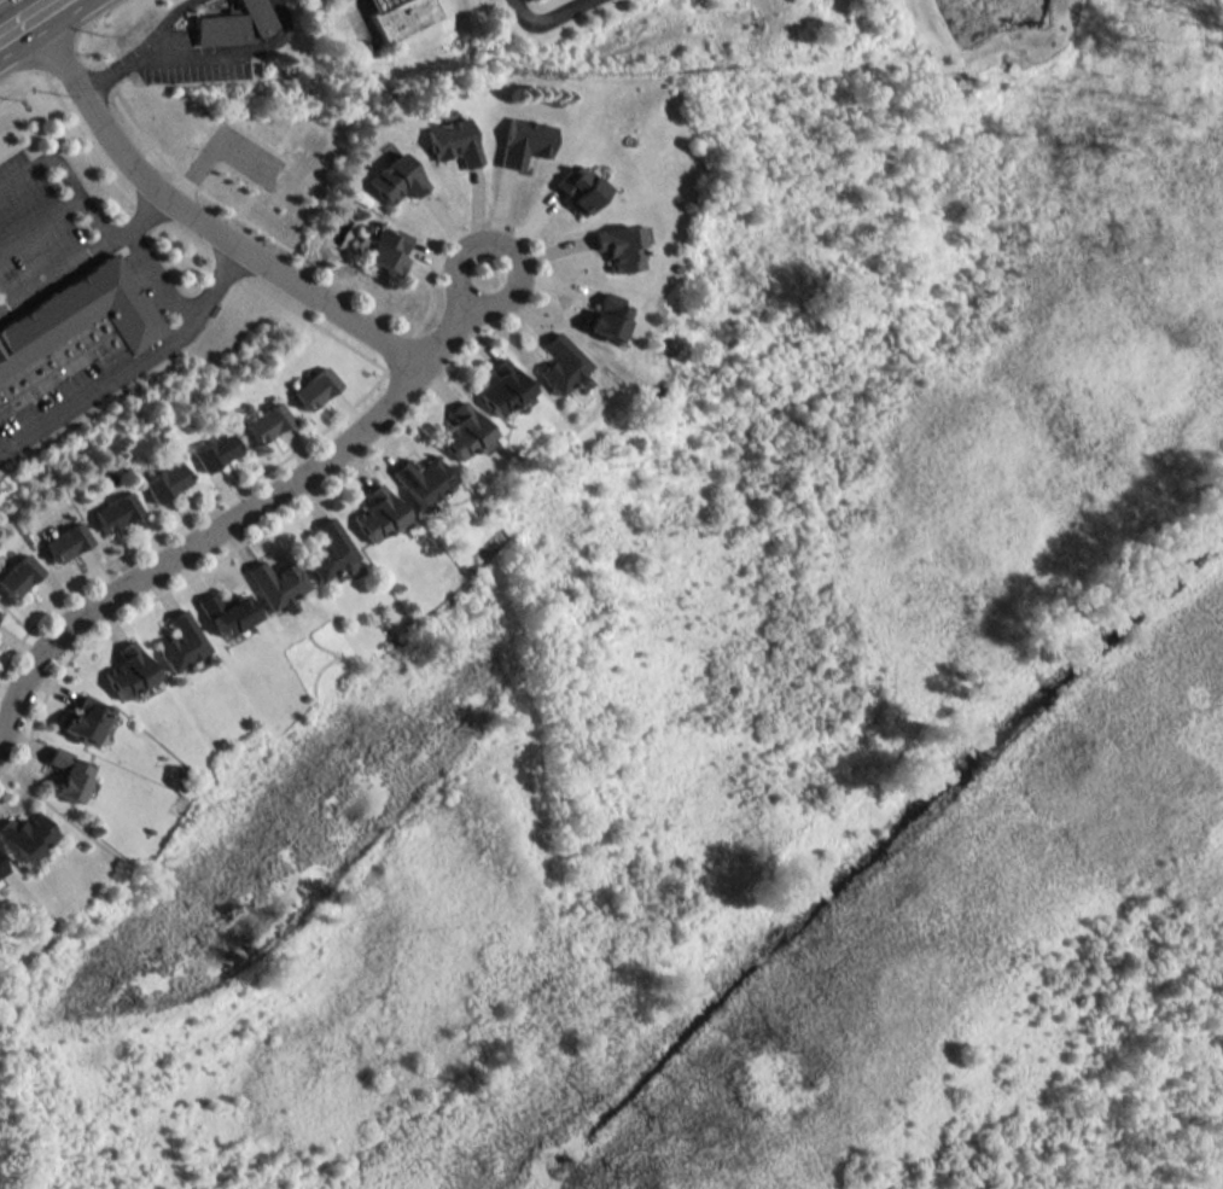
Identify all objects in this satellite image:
parking lot: (495, 0)
building: (385, 2)
road: (30, 5)
road: (24, 16)
building: (409, 17)
road: (548, 19)
road: (182, 27)
building: (245, 28)
road: (255, 59)
parking lot: (191, 62)
road: (153, 66)
road: (113, 82)
building: (455, 140)
building: (525, 140)
road: (71, 170)
building: (397, 179)
building: (580, 187)
road: (148, 212)
road: (200, 215)
road: (43, 222)
parking lot: (35, 233)
building: (619, 246)
building: (389, 250)
road: (64, 272)
road: (164, 278)
parking lot: (151, 279)
road: (220, 282)
building: (88, 314)
building: (606, 316)
building: (560, 363)
building: (315, 386)
building: (502, 387)
road: (101, 397)
parking lot: (48, 402)
building: (268, 421)
building: (464, 431)
building: (216, 450)
building: (424, 479)
building: (167, 480)
building: (117, 511)
road: (250, 513)
building: (378, 513)
building: (68, 541)
building: (330, 549)
building: (19, 573)
building: (278, 583)
building: (228, 612)
building: (181, 641)
building: (129, 670)
building: (86, 718)
building: (68, 774)
building: (25, 834)
building: (0, 867)

